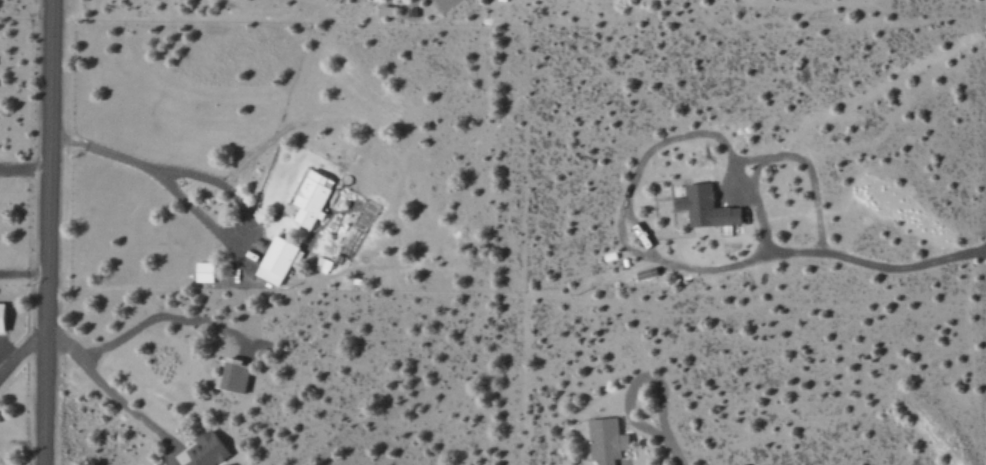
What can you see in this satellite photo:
building: (313, 198)
building: (708, 207)
road: (47, 232)
building: (278, 260)
building: (204, 271)
building: (3, 317)
building: (235, 375)
building: (607, 440)
building: (208, 450)

